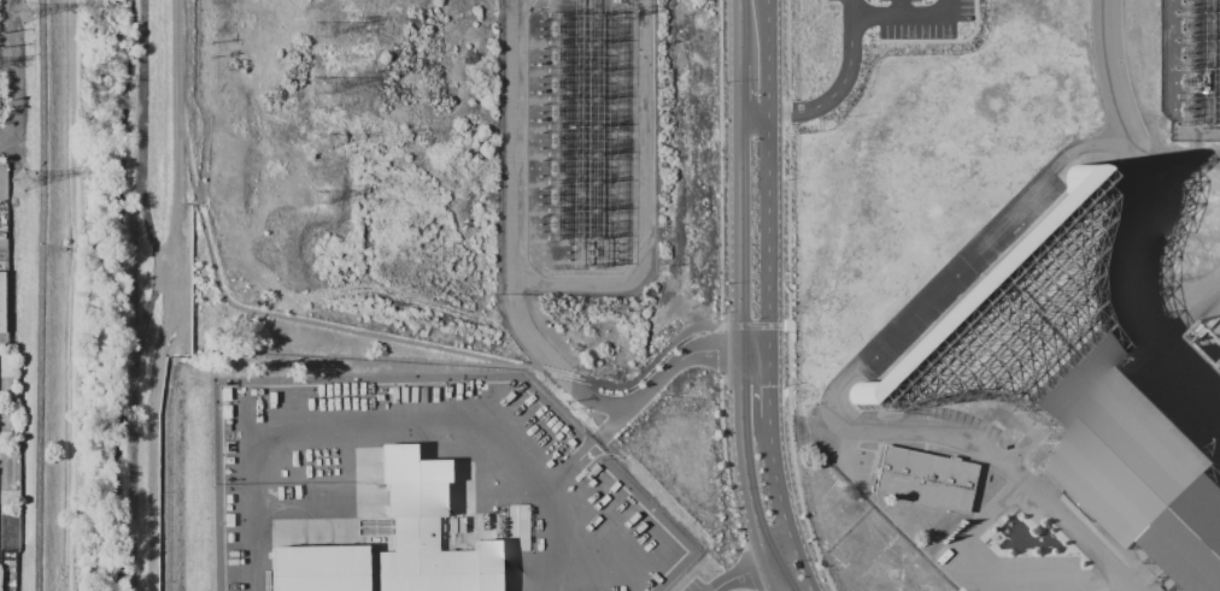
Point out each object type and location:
road: (851, 8)
road: (899, 8)
power tower: (29, 16)
parking lot: (908, 16)
road: (907, 17)
power tower: (322, 28)
road: (943, 40)
power substation: (1193, 70)
power tower: (323, 84)
road: (826, 99)
road: (178, 101)
power tower: (319, 141)
power substation: (427, 155)
road: (1139, 169)
power tower: (19, 184)
power tower: (323, 199)
road: (36, 295)
building: (1, 296)
road: (738, 297)
road: (769, 299)
road: (787, 299)
road: (1196, 307)
road: (520, 315)
road: (728, 325)
road: (417, 344)
building: (1066, 383)
road: (840, 384)
road: (391, 420)
road: (580, 450)
building: (928, 477)
building: (393, 540)
road: (990, 563)
road: (756, 571)
parking lot: (692, 584)

